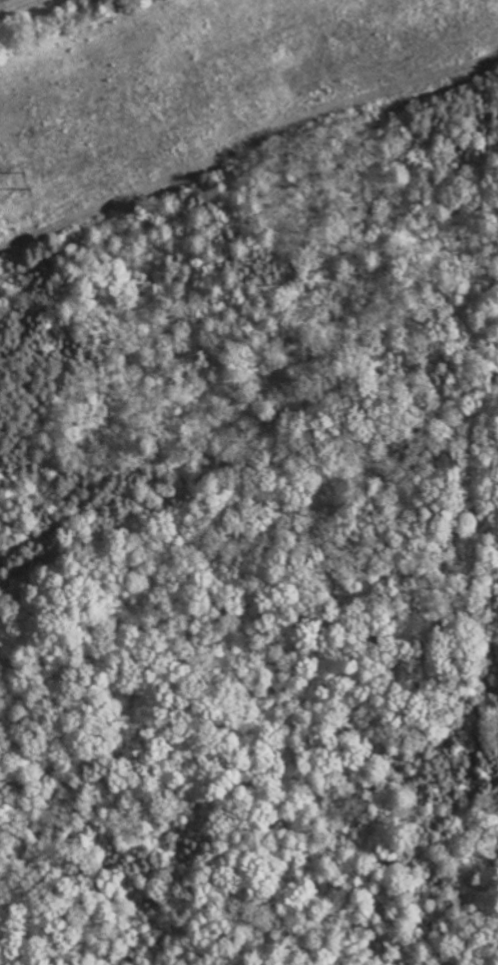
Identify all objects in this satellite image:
power tower: (30, 184)

